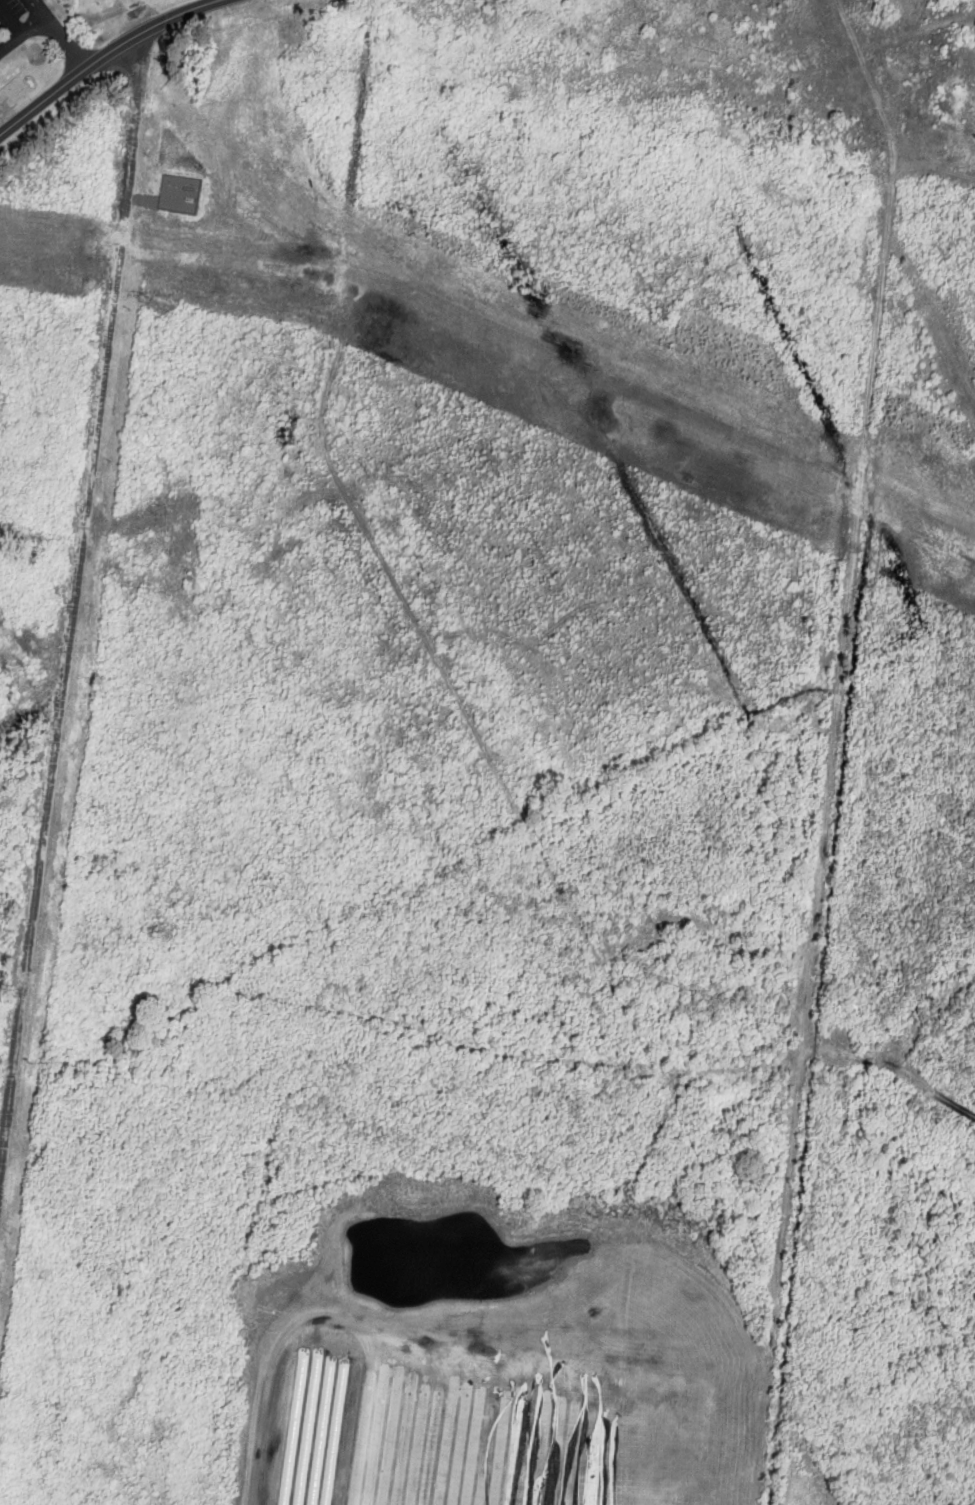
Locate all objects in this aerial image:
road: (39, 10)
parking lot: (21, 21)
road: (12, 23)
road: (23, 38)
road: (70, 42)
road: (103, 56)
road: (72, 597)
road: (29, 711)

